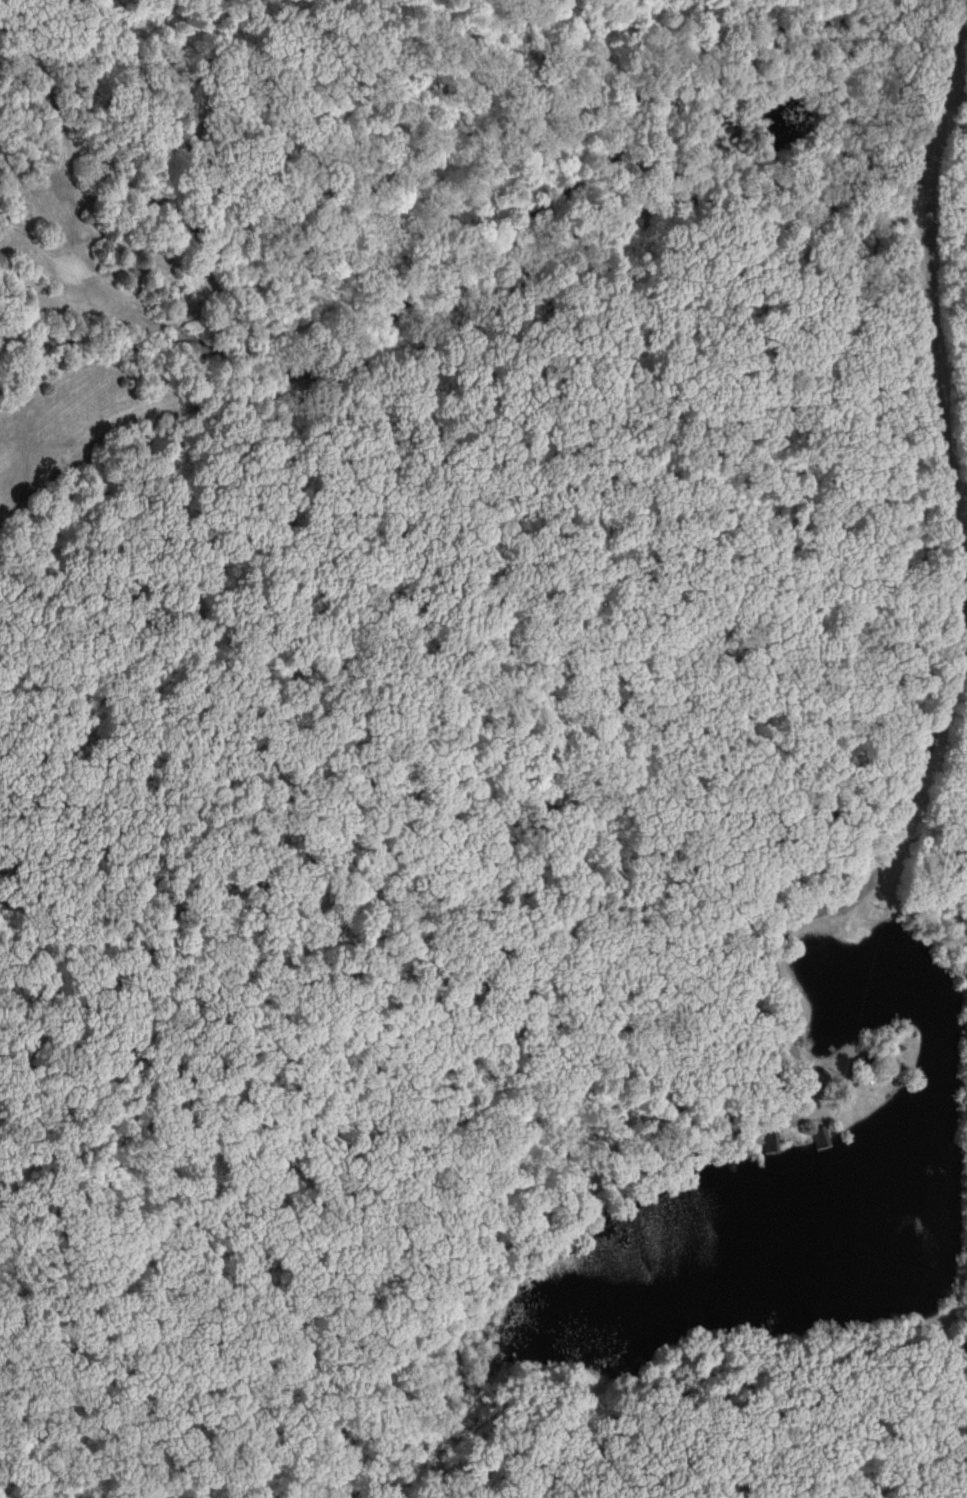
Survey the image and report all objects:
building: (819, 1136)
building: (768, 1141)

